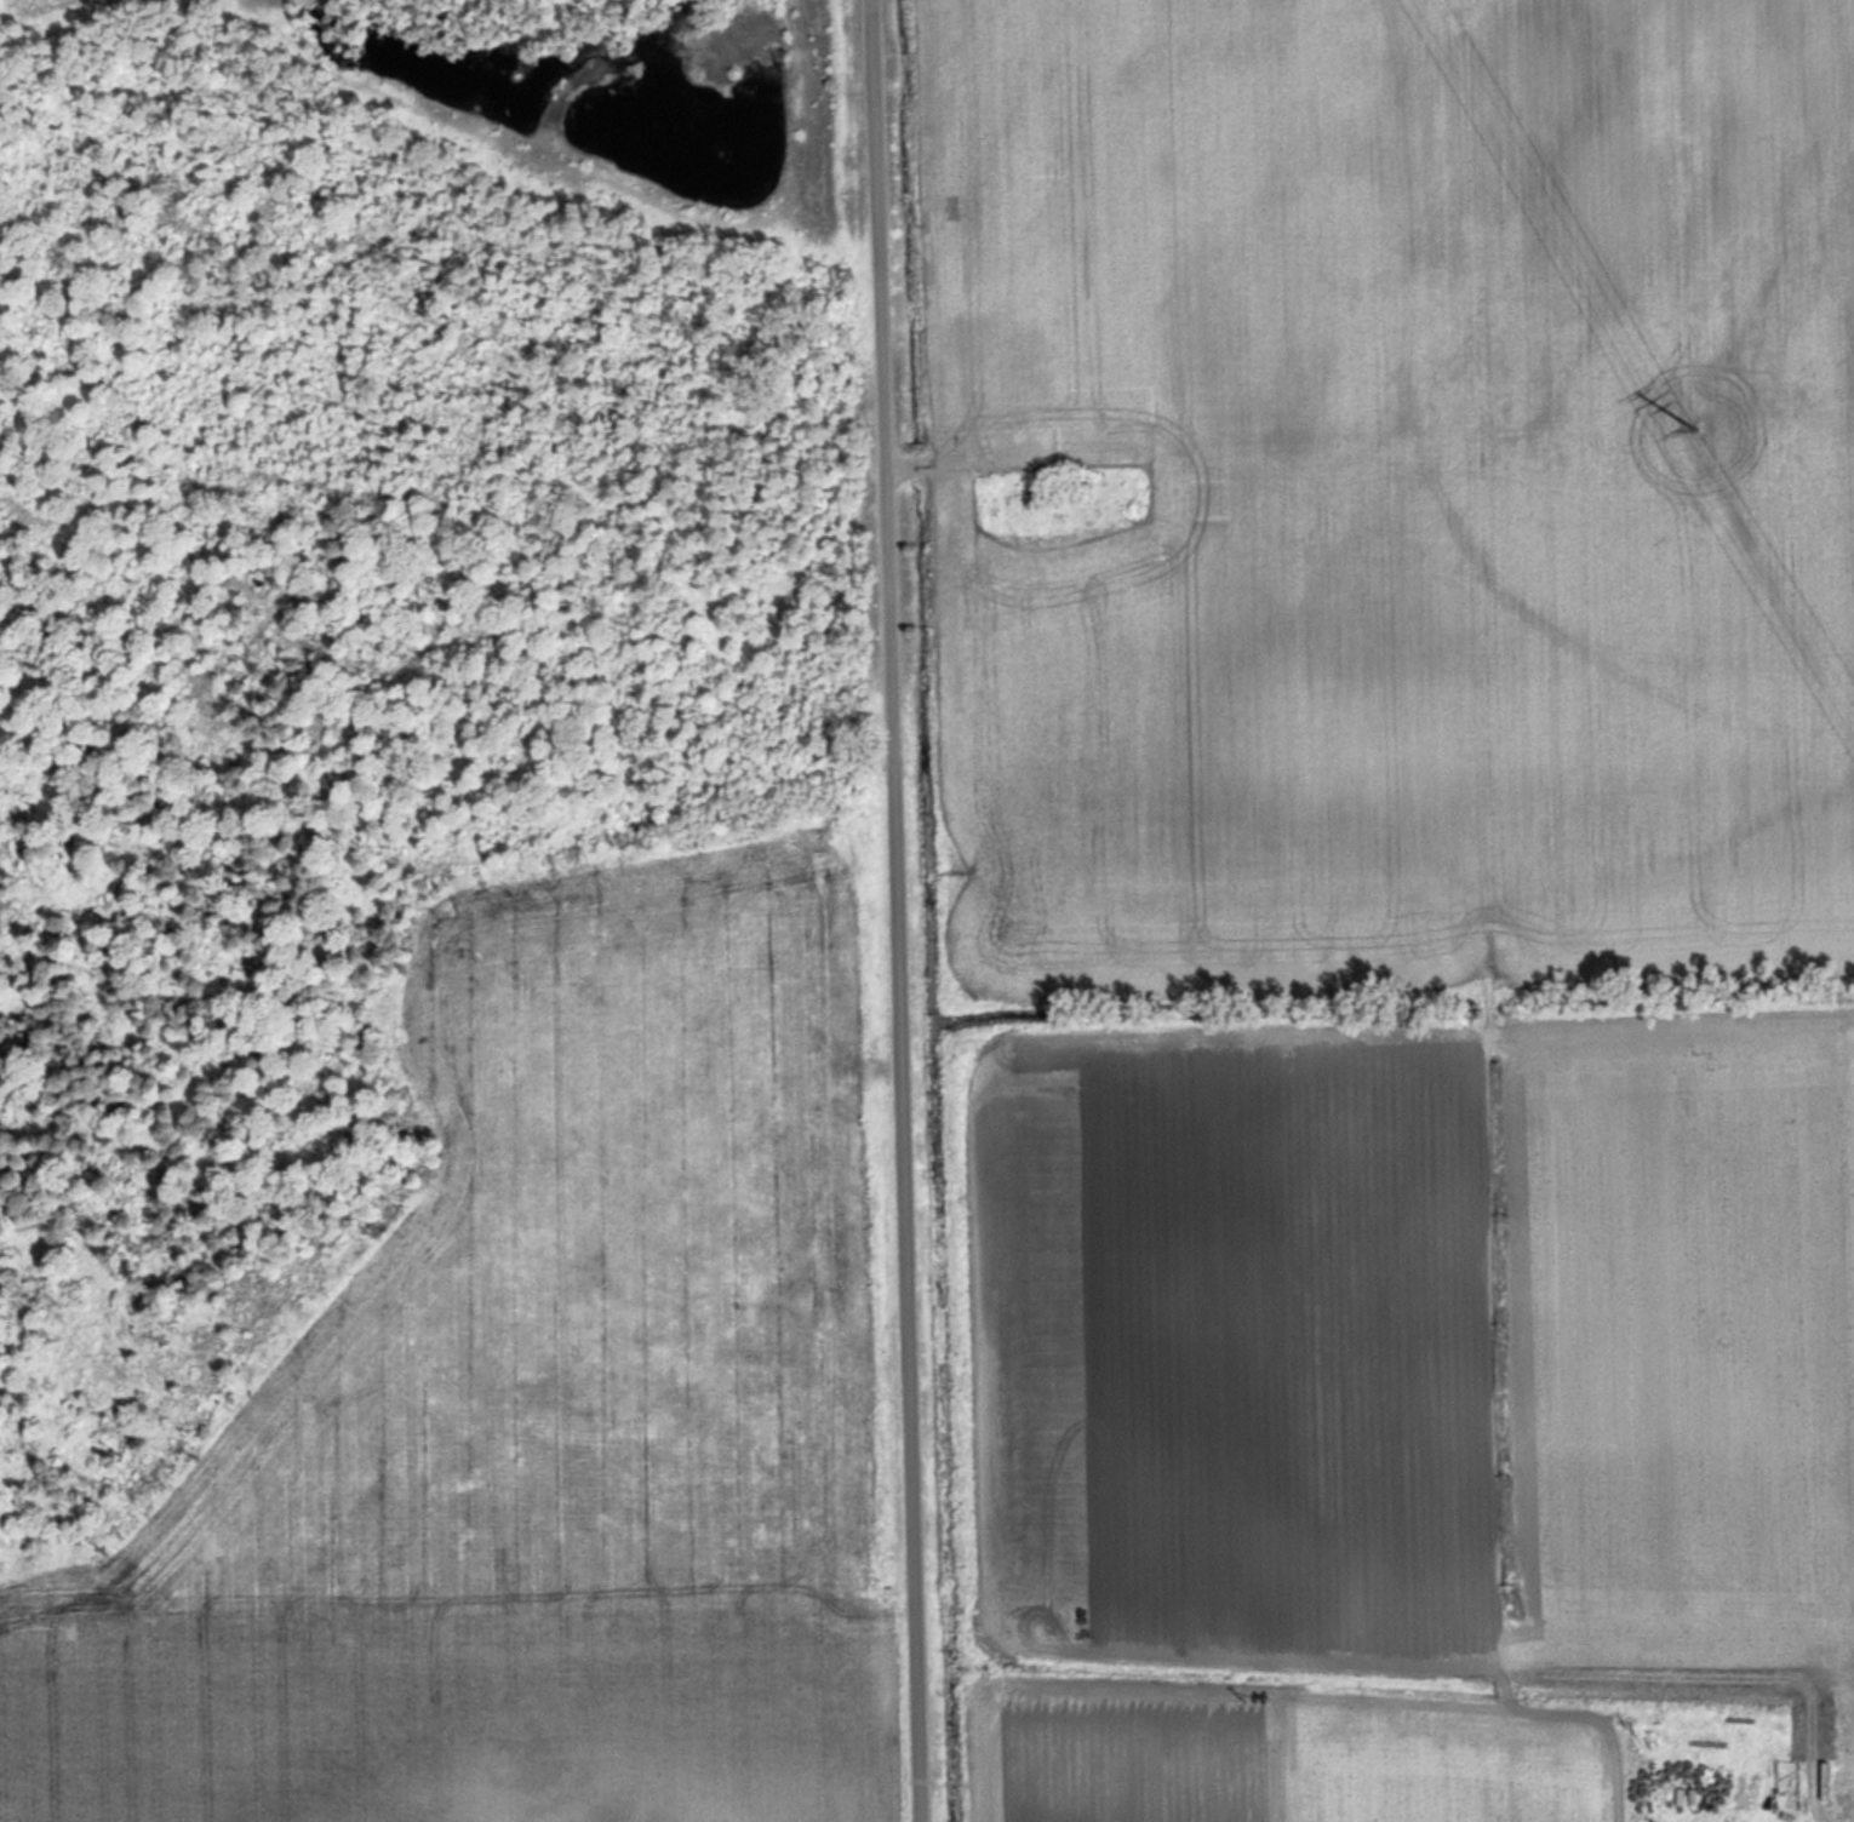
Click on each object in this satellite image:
power tower: (1698, 425)
road: (893, 911)

